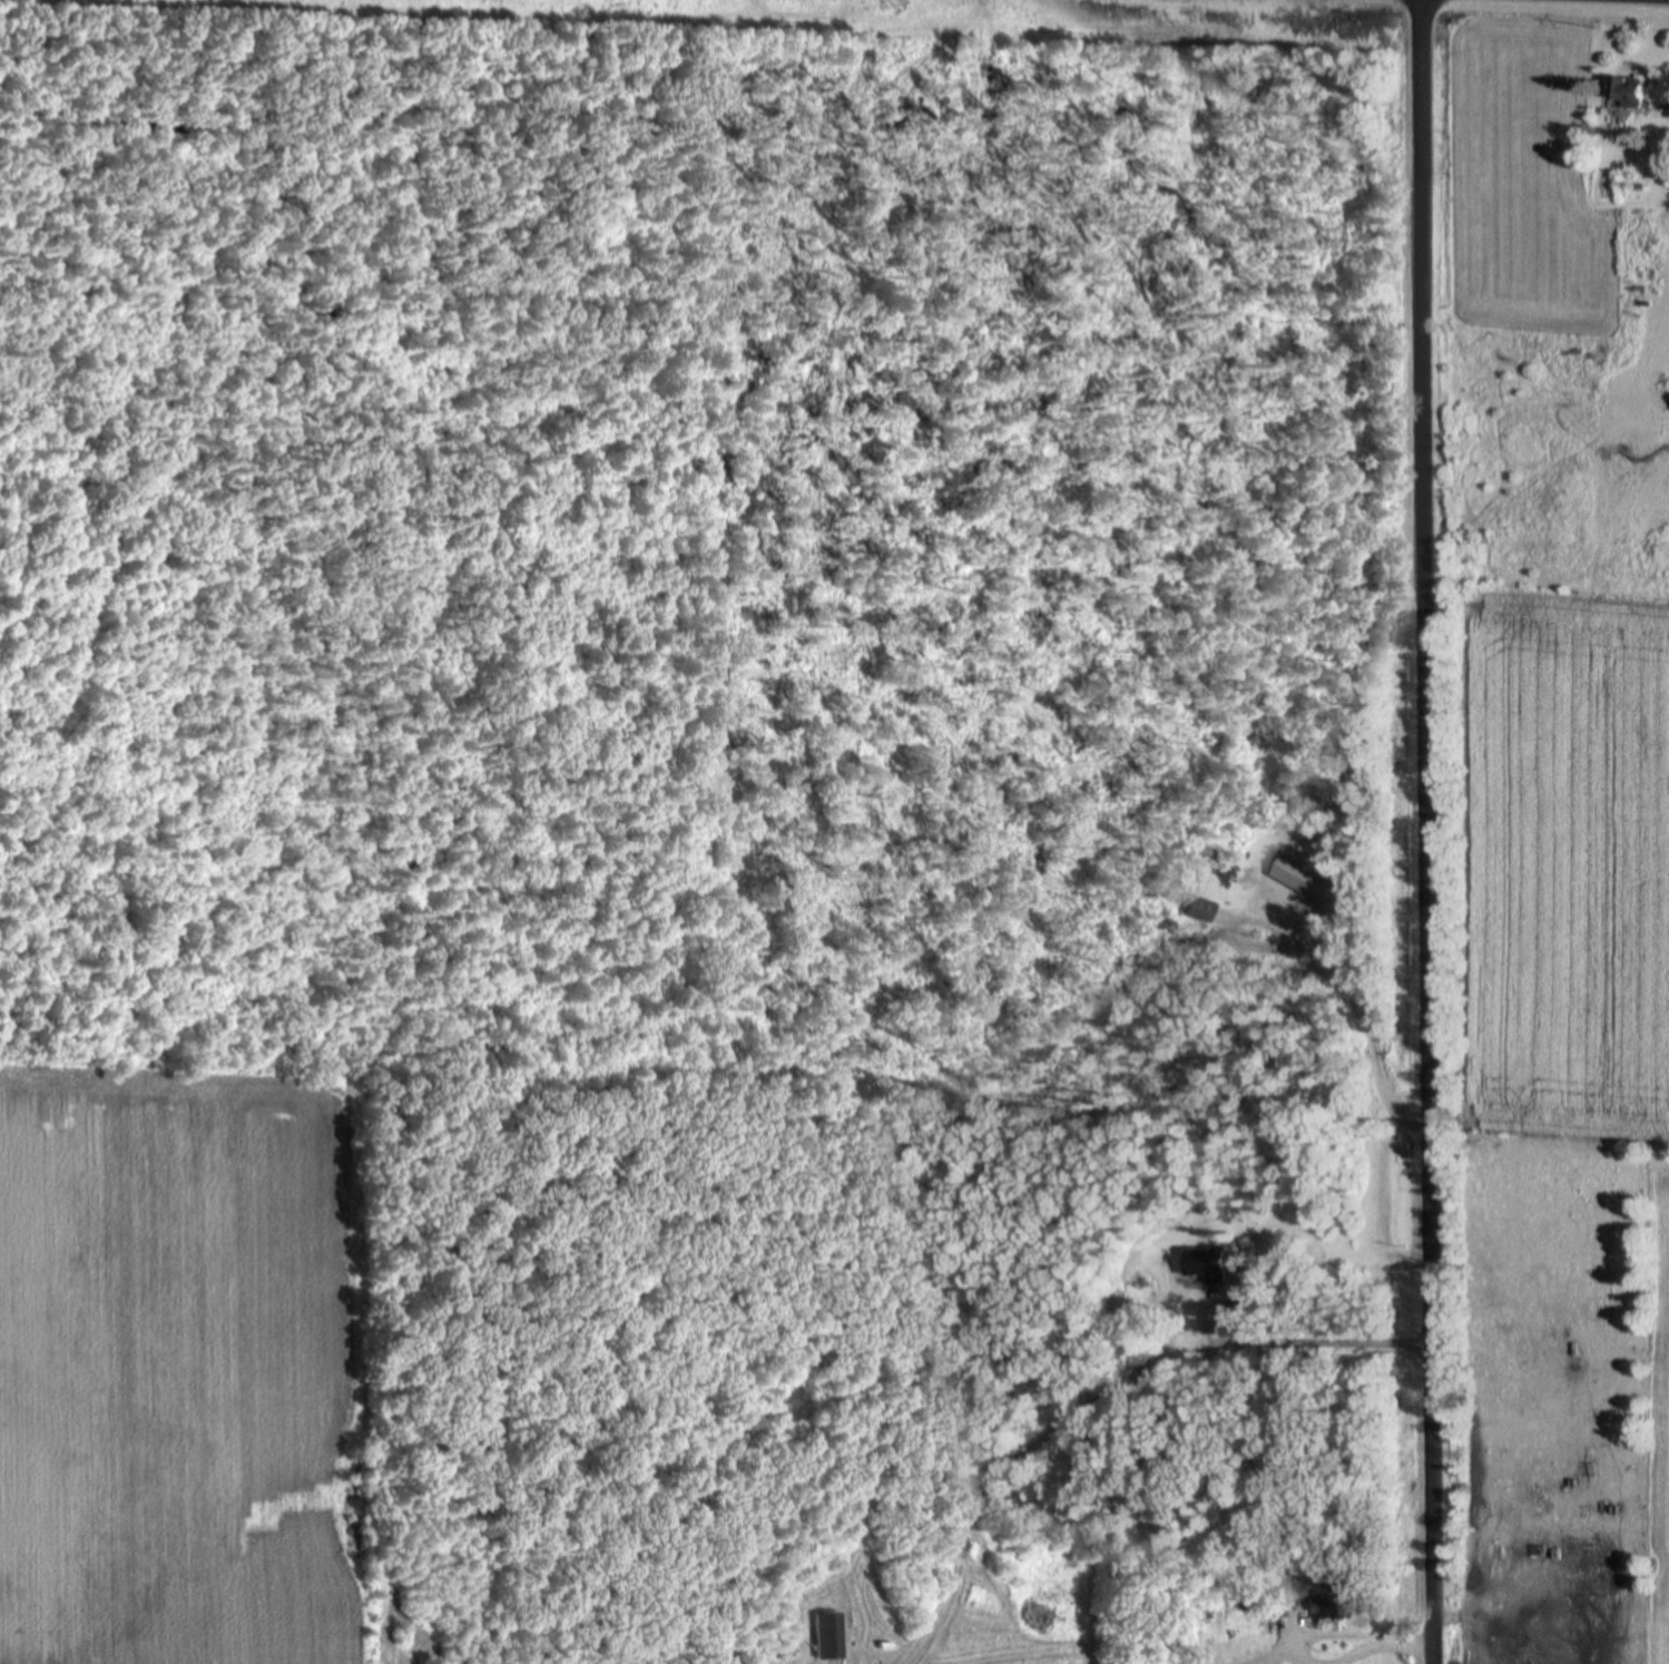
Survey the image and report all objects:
power tower: (890, 2)
power tower: (1386, 21)
building: (1624, 94)
road: (1417, 831)
building: (1302, 879)
building: (1200, 911)
building: (1204, 1265)
building: (1477, 1597)
building: (1272, 1604)
building: (1324, 1608)
building: (1239, 1611)
building: (823, 1636)

